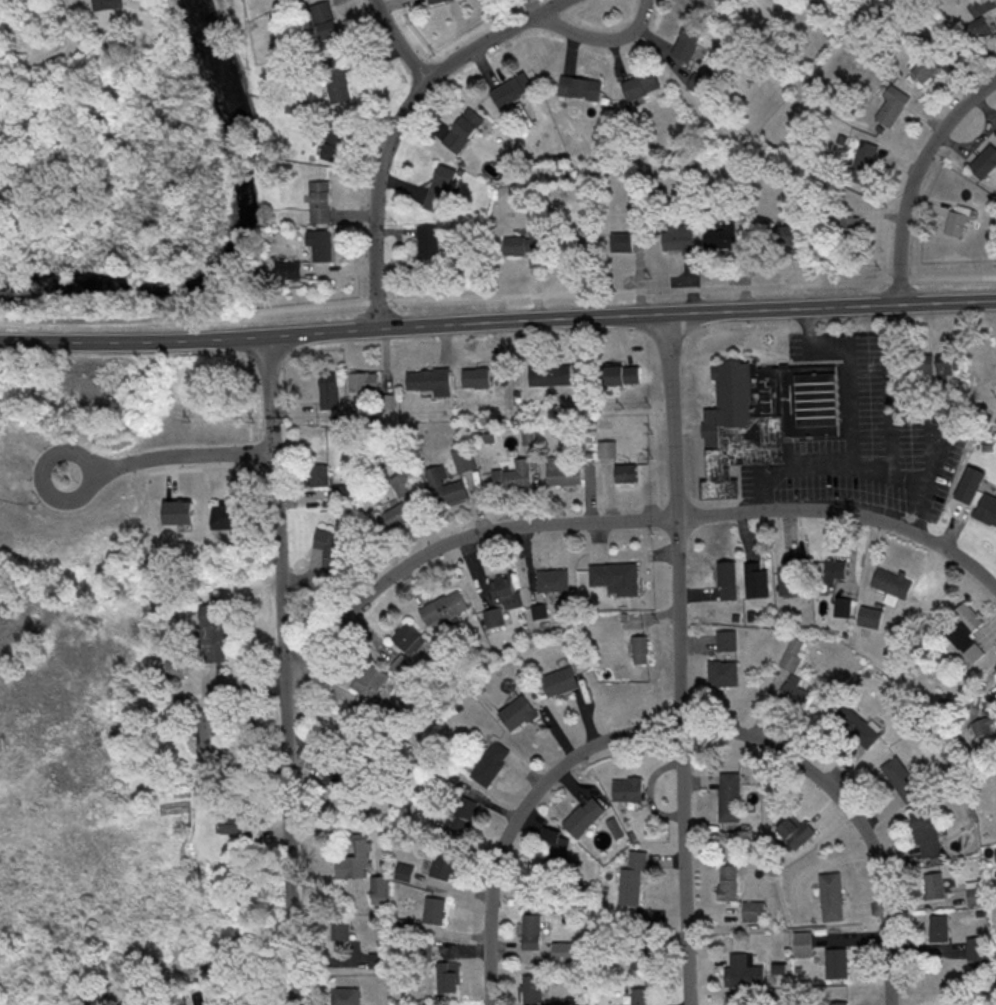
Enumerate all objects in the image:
building: (433, 1)
building: (106, 4)
building: (324, 22)
road: (600, 38)
road: (397, 42)
building: (686, 42)
road: (51, 51)
building: (697, 82)
building: (640, 84)
building: (338, 85)
building: (580, 86)
building: (510, 91)
road: (398, 123)
building: (462, 129)
building: (335, 142)
road: (916, 179)
building: (439, 187)
building: (320, 201)
building: (719, 234)
building: (678, 237)
building: (622, 240)
building: (426, 241)
building: (320, 243)
building: (521, 244)
building: (288, 269)
road: (497, 322)
building: (623, 373)
building: (551, 374)
building: (477, 375)
building: (364, 380)
building: (329, 390)
building: (763, 417)
road: (851, 432)
building: (527, 435)
road: (173, 453)
building: (463, 458)
building: (563, 472)
building: (627, 472)
building: (318, 474)
building: (514, 474)
road: (910, 483)
building: (446, 485)
building: (400, 503)
building: (179, 511)
building: (225, 514)
road: (619, 522)
building: (328, 542)
building: (617, 577)
building: (553, 579)
building: (505, 590)
building: (441, 607)
building: (539, 611)
building: (632, 615)
building: (212, 632)
building: (407, 638)
building: (731, 640)
building: (640, 648)
road: (680, 659)
building: (401, 665)
building: (174, 668)
road: (282, 670)
building: (369, 680)
building: (559, 681)
building: (516, 712)
building: (343, 725)
building: (204, 731)
building: (490, 762)
building: (628, 789)
building: (340, 793)
road: (851, 813)
building: (460, 815)
road: (520, 816)
building: (584, 816)
building: (239, 826)
building: (800, 833)
building: (554, 844)
building: (355, 859)
building: (441, 864)
building: (632, 877)
building: (434, 909)
building: (758, 910)
building: (340, 927)
building: (531, 930)
building: (563, 950)
building: (375, 959)
building: (633, 962)
building: (748, 976)
building: (445, 978)
building: (535, 992)
building: (345, 995)
building: (639, 996)
building: (841, 1003)

